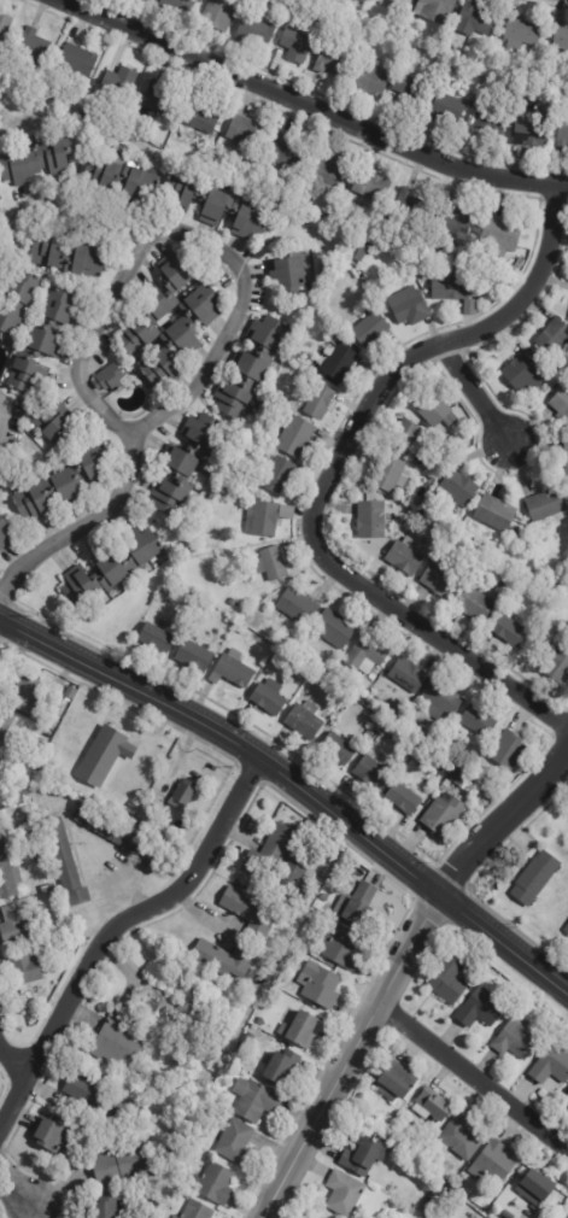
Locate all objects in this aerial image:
building: (287, 0)
building: (326, 2)
building: (393, 2)
building: (181, 6)
building: (435, 10)
building: (218, 13)
building: (475, 18)
building: (4, 27)
building: (257, 29)
building: (522, 33)
building: (561, 37)
building: (439, 41)
building: (297, 45)
building: (33, 46)
building: (470, 55)
building: (333, 59)
building: (77, 62)
building: (435, 69)
building: (535, 80)
building: (371, 81)
building: (119, 82)
building: (406, 84)
building: (46, 93)
building: (159, 99)
building: (447, 105)
road: (310, 109)
building: (206, 119)
building: (491, 122)
building: (531, 133)
building: (246, 135)
building: (563, 135)
building: (285, 153)
building: (37, 162)
building: (327, 171)
building: (119, 177)
building: (371, 188)
building: (411, 204)
building: (215, 205)
road: (10, 217)
road: (75, 223)
building: (452, 226)
road: (180, 232)
building: (502, 235)
building: (411, 247)
building: (358, 252)
building: (398, 254)
building: (68, 257)
building: (306, 260)
building: (482, 268)
building: (491, 269)
building: (422, 270)
building: (288, 274)
building: (491, 283)
building: (456, 287)
building: (16, 300)
building: (157, 303)
building: (409, 306)
building: (470, 306)
building: (370, 329)
building: (183, 336)
building: (555, 338)
building: (41, 344)
building: (339, 362)
building: (252, 365)
building: (526, 371)
building: (110, 379)
building: (555, 381)
road: (473, 392)
building: (320, 402)
building: (561, 404)
building: (435, 410)
building: (53, 422)
building: (295, 437)
building: (405, 438)
building: (246, 443)
building: (566, 453)
building: (188, 465)
building: (437, 468)
road: (328, 473)
building: (277, 474)
building: (392, 475)
building: (227, 478)
building: (65, 484)
building: (457, 487)
building: (241, 496)
building: (546, 504)
building: (496, 514)
building: (264, 519)
building: (371, 520)
road: (83, 522)
building: (4, 533)
building: (406, 557)
building: (504, 561)
building: (271, 564)
building: (111, 569)
building: (444, 579)
building: (509, 582)
building: (174, 587)
building: (232, 603)
building: (513, 603)
building: (478, 605)
building: (298, 607)
building: (522, 611)
building: (334, 630)
building: (240, 631)
building: (511, 632)
building: (157, 638)
building: (554, 645)
building: (287, 648)
building: (368, 656)
building: (194, 657)
building: (558, 664)
building: (233, 671)
building: (306, 675)
building: (409, 675)
building: (71, 691)
building: (23, 693)
building: (443, 697)
building: (269, 698)
building: (377, 701)
building: (396, 715)
building: (305, 721)
building: (478, 722)
building: (6, 730)
building: (40, 744)
building: (338, 750)
building: (508, 751)
building: (105, 754)
building: (33, 756)
building: (373, 774)
building: (0, 777)
building: (458, 779)
road: (297, 784)
building: (21, 785)
building: (185, 791)
building: (1, 792)
building: (403, 800)
building: (25, 812)
building: (567, 815)
building: (129, 816)
building: (443, 818)
road: (502, 822)
building: (144, 825)
building: (117, 833)
building: (2, 841)
building: (270, 851)
building: (39, 855)
building: (66, 861)
building: (297, 868)
building: (8, 879)
building: (535, 879)
building: (48, 886)
building: (324, 897)
building: (357, 902)
building: (250, 910)
road: (115, 921)
building: (14, 925)
building: (567, 931)
building: (305, 933)
building: (342, 947)
building: (42, 948)
building: (224, 960)
building: (27, 968)
building: (449, 979)
building: (320, 984)
building: (481, 1008)
building: (151, 1011)
building: (260, 1021)
building: (304, 1027)
building: (516, 1038)
building: (115, 1041)
building: (247, 1041)
road: (349, 1055)
road: (13, 1061)
building: (552, 1065)
building: (283, 1066)
road: (472, 1077)
building: (397, 1083)
building: (93, 1096)
building: (256, 1099)
building: (567, 1101)
building: (433, 1105)
building: (166, 1111)
building: (135, 1129)
building: (53, 1132)
building: (459, 1137)
building: (236, 1142)
building: (364, 1156)
building: (493, 1163)
building: (121, 1164)
building: (215, 1183)
building: (462, 1187)
building: (537, 1188)
building: (346, 1193)
road: (17, 1197)
building: (157, 1202)
building: (428, 1206)
building: (105, 1207)
building: (198, 1210)
building: (508, 1214)
building: (176, 1216)
building: (322, 1217)

